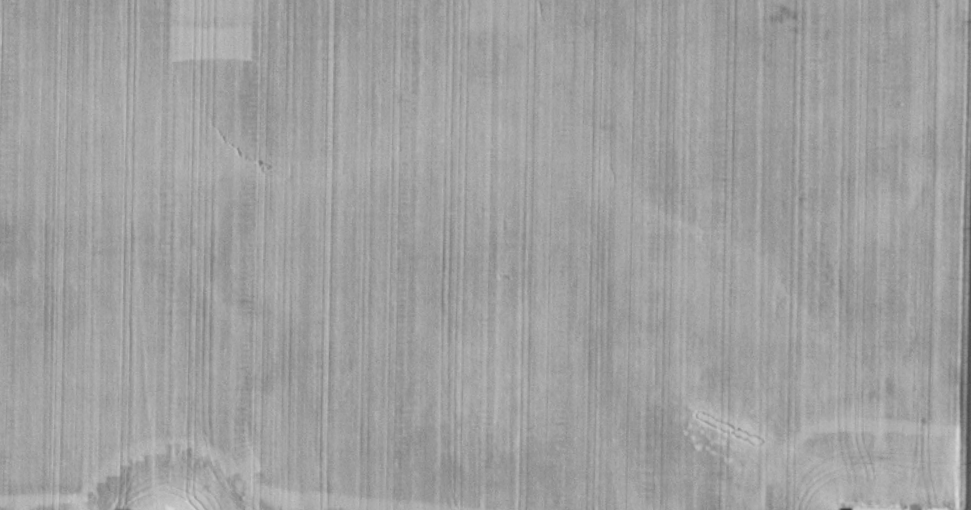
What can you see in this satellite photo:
road: (969, 427)

